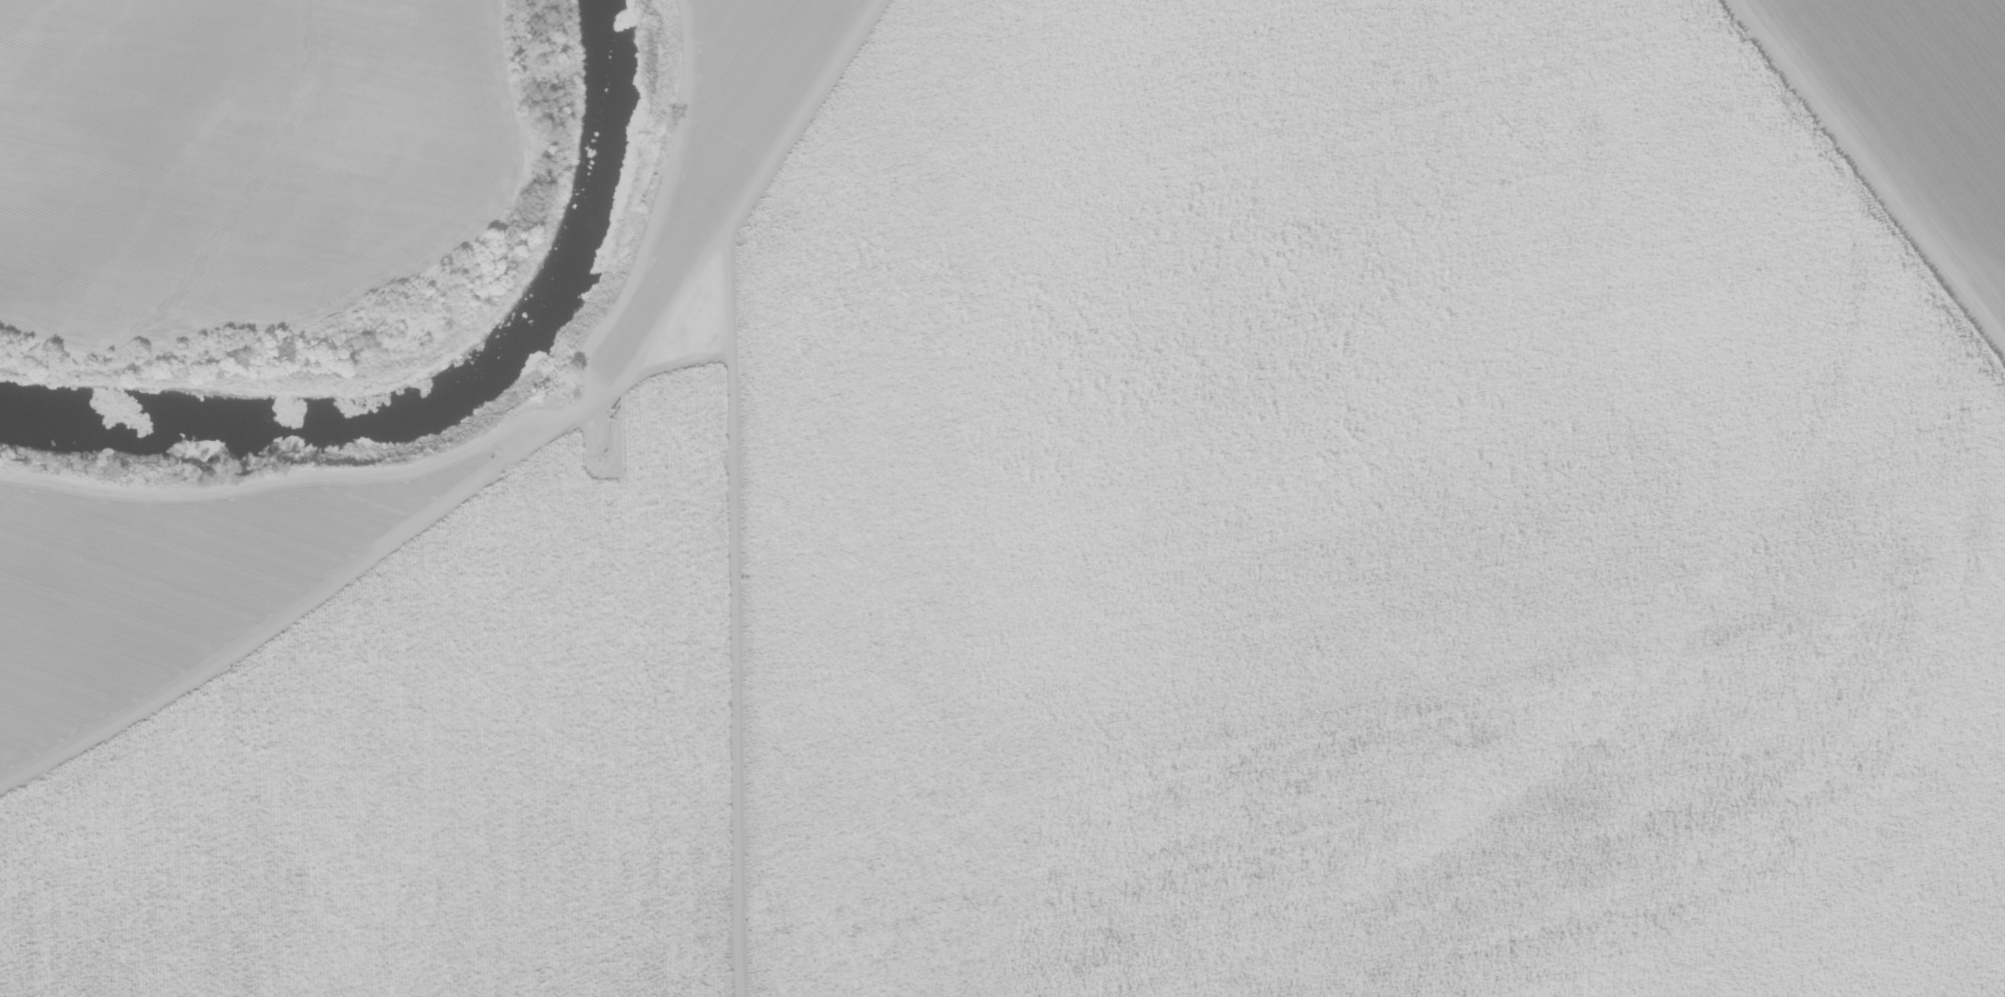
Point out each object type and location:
road: (1873, 167)
road: (655, 201)
river: (441, 385)
road: (504, 463)
road: (268, 481)
road: (729, 632)

